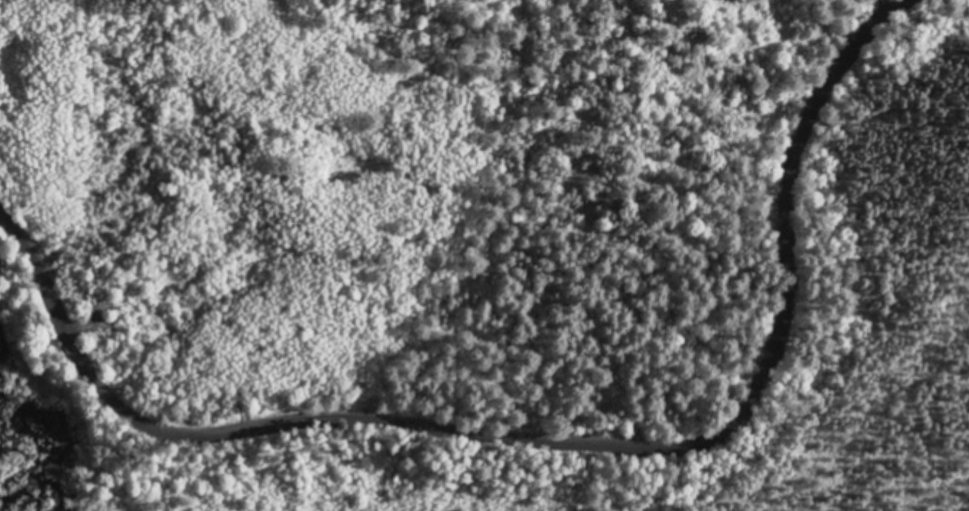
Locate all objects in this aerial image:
road: (538, 426)

